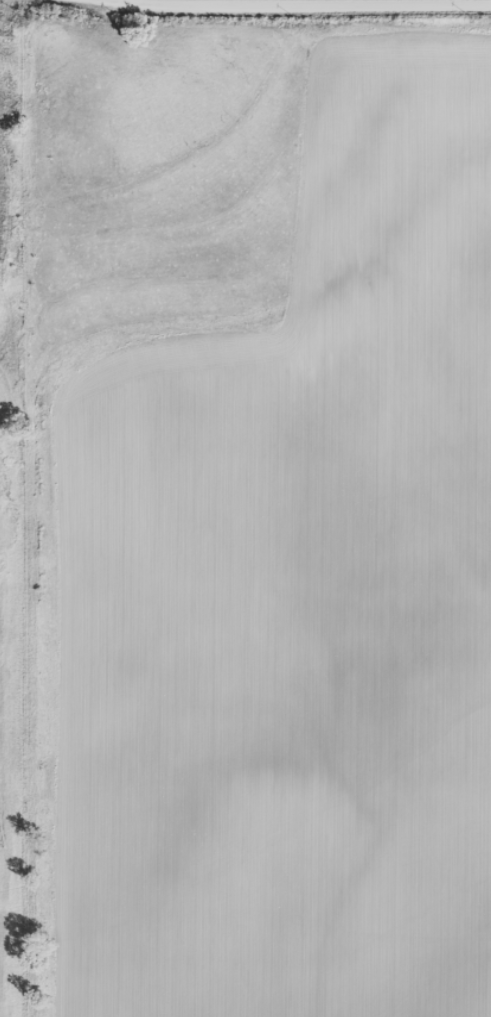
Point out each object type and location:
road: (245, 20)

